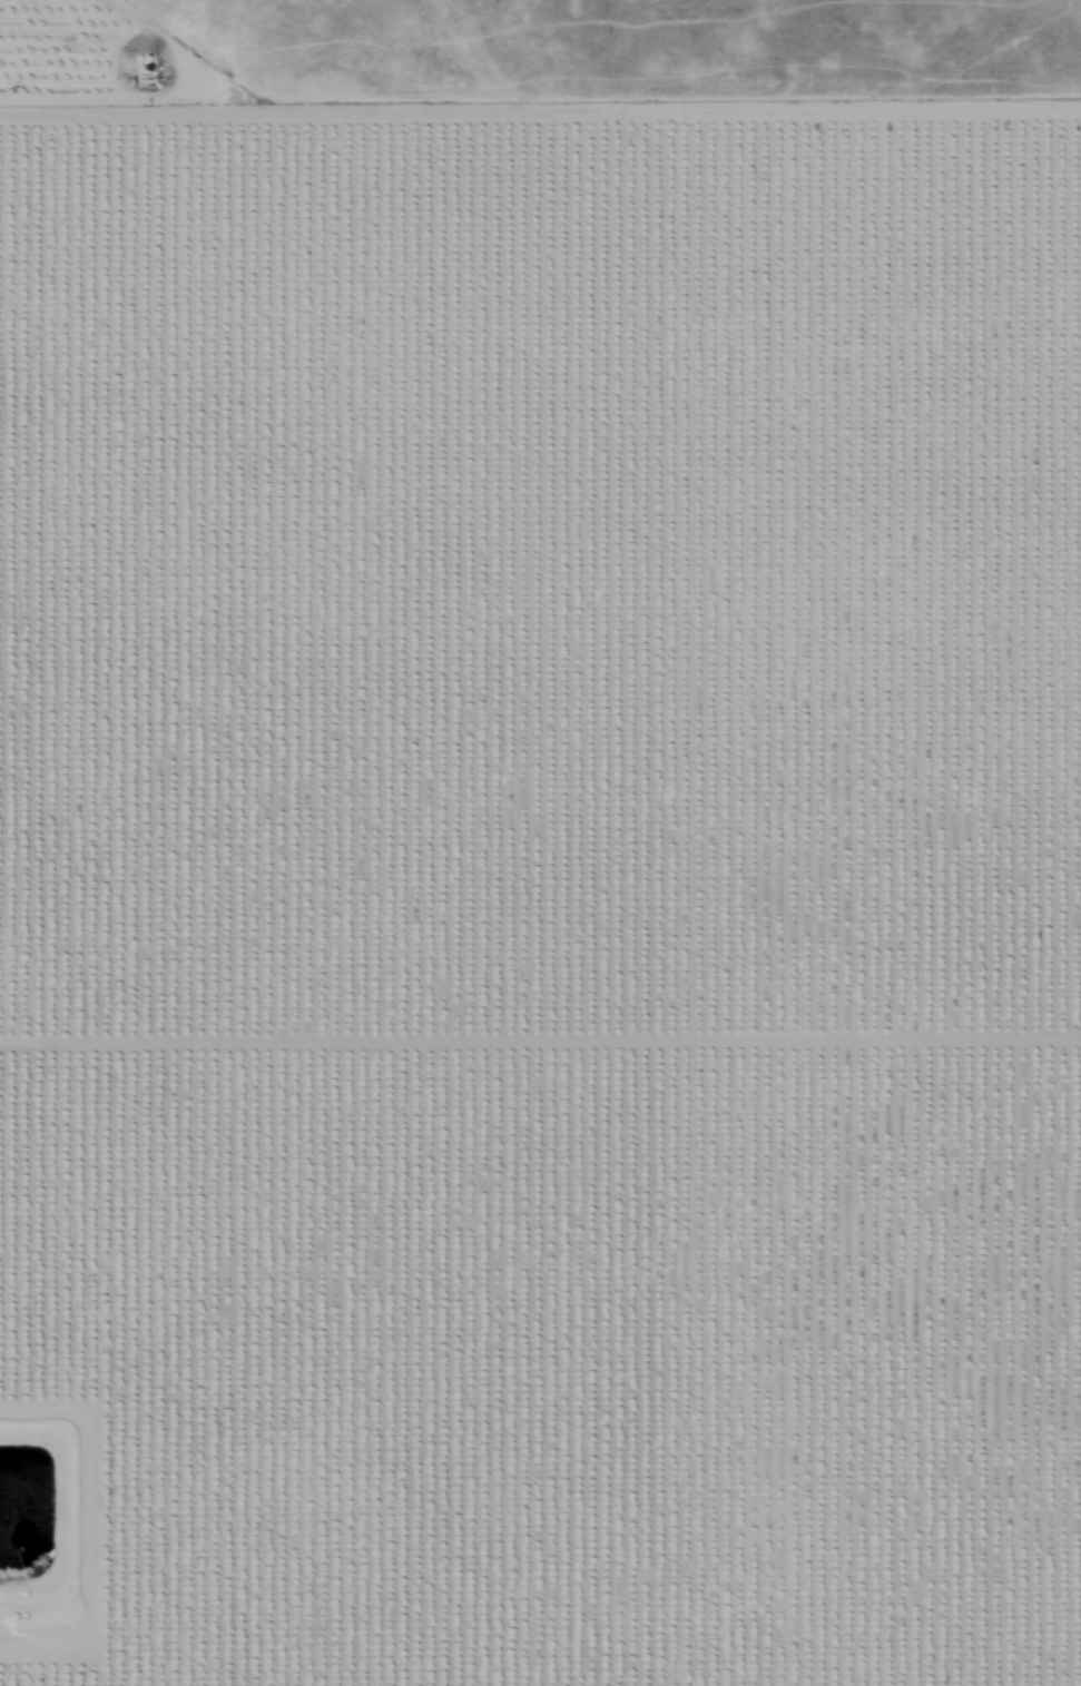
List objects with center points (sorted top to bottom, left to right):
road: (540, 27)
crop: (535, 885)
road: (579, 1648)
road: (27, 1672)

